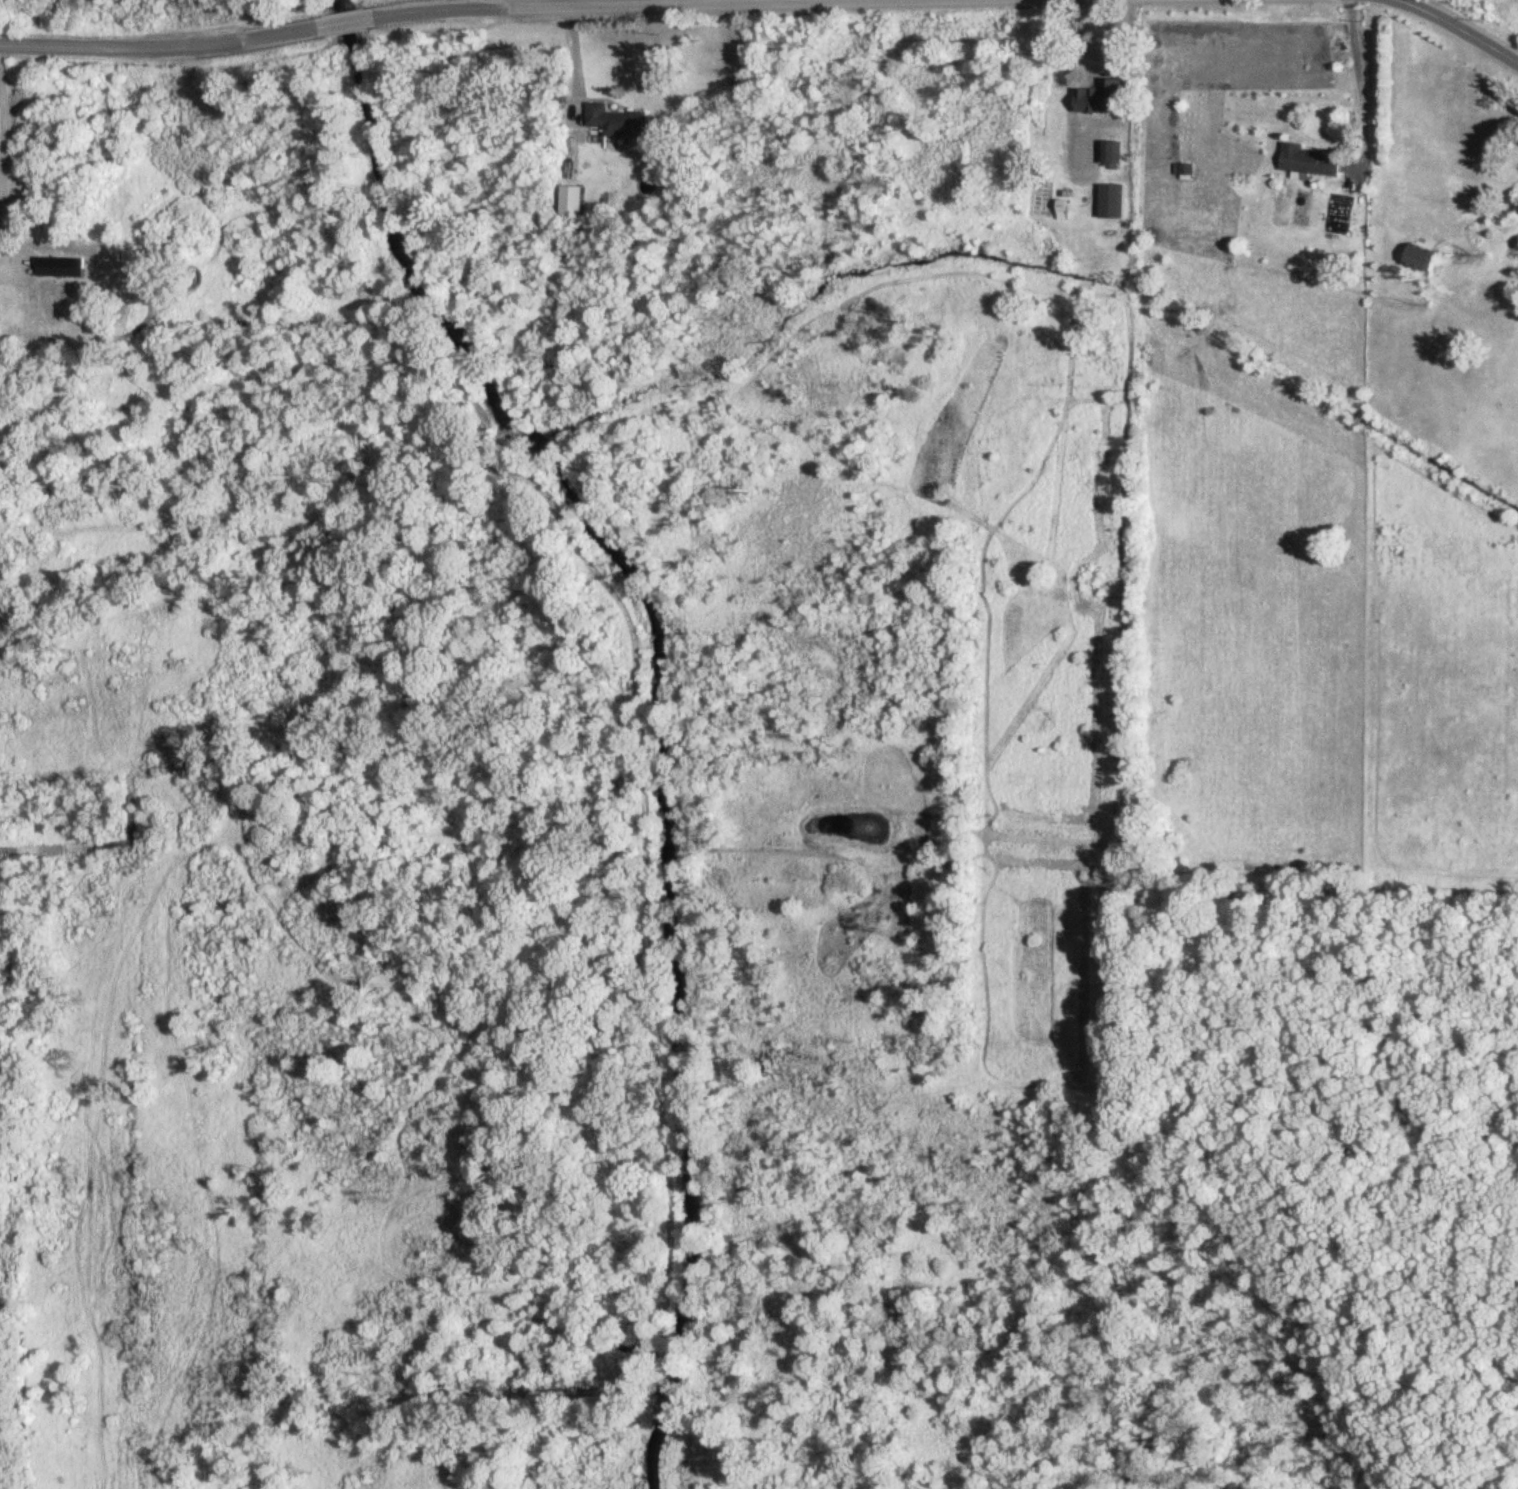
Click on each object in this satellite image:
road: (457, 4)
road: (570, 5)
road: (348, 15)
road: (1467, 29)
road: (161, 46)
building: (1090, 55)
road: (1362, 84)
building: (616, 120)
building: (1110, 152)
building: (1309, 160)
building: (1184, 169)
road: (2, 192)
building: (570, 200)
building: (1112, 201)
building: (1061, 209)
building: (1419, 257)
building: (49, 261)

